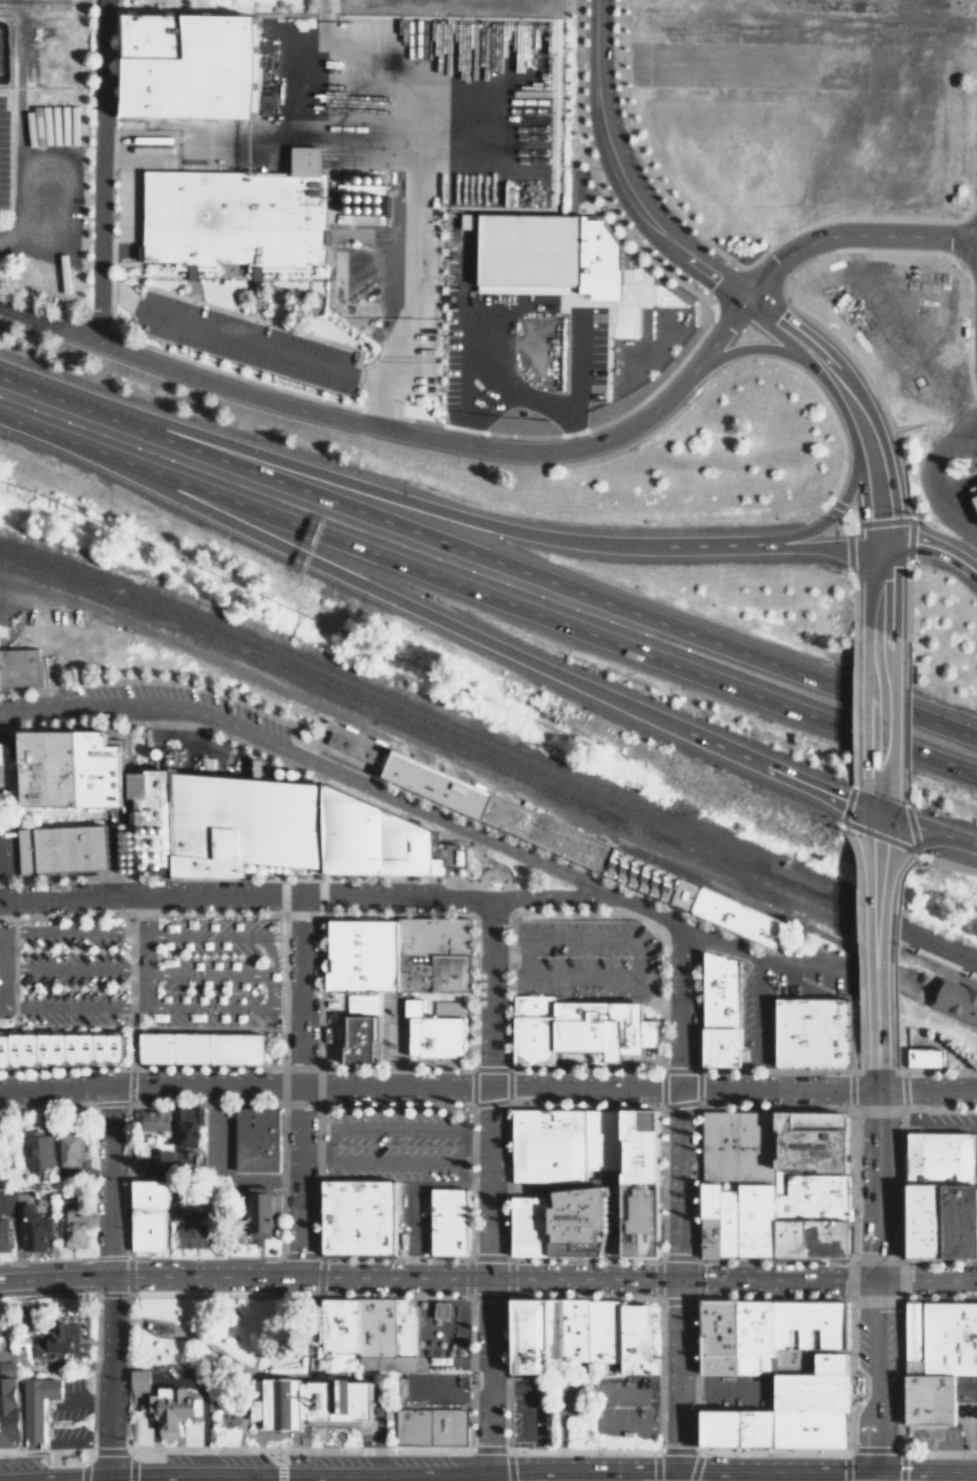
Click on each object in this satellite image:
building: (181, 67)
road: (596, 105)
road: (89, 165)
building: (236, 217)
building: (468, 220)
road: (663, 230)
road: (849, 234)
building: (552, 249)
road: (718, 277)
road: (508, 303)
road: (720, 332)
road: (790, 332)
road: (467, 341)
road: (254, 344)
road: (762, 347)
road: (572, 377)
road: (519, 398)
road: (850, 401)
road: (351, 421)
road: (913, 423)
road: (248, 452)
road: (855, 472)
road: (921, 482)
road: (874, 488)
building: (973, 496)
road: (848, 519)
road: (863, 524)
road: (800, 530)
road: (607, 542)
road: (804, 543)
road: (863, 543)
traffic signals: (878, 543)
road: (893, 544)
road: (944, 550)
road: (488, 558)
road: (338, 571)
road: (877, 586)
road: (487, 595)
railway: (306, 692)
railway: (331, 692)
parking lot: (243, 712)
road: (876, 712)
road: (675, 727)
building: (347, 744)
railway: (490, 749)
road: (314, 762)
building: (66, 766)
building: (7, 769)
building: (437, 783)
road: (808, 785)
road: (876, 804)
road: (863, 809)
traffic signals: (876, 814)
road: (895, 819)
building: (222, 822)
road: (876, 826)
road: (946, 832)
building: (548, 833)
building: (369, 837)
building: (60, 848)
parking lot: (5, 850)
road: (485, 851)
road: (926, 856)
railway: (739, 866)
park: (501, 873)
building: (641, 873)
road: (509, 888)
building: (684, 892)
road: (343, 894)
railway: (818, 906)
building: (736, 916)
road: (72, 928)
road: (144, 933)
road: (221, 935)
building: (361, 953)
building: (432, 953)
road: (764, 954)
road: (875, 954)
parking lot: (585, 958)
road: (72, 968)
road: (189, 972)
parking lot: (138, 976)
road: (636, 979)
road: (269, 987)
railway: (930, 996)
building: (956, 1000)
road: (284, 1002)
road: (756, 1006)
road: (72, 1007)
road: (208, 1007)
building: (448, 1007)
building: (719, 1009)
road: (930, 1009)
road: (122, 1022)
road: (61, 1028)
building: (577, 1029)
building: (811, 1031)
building: (432, 1032)
building: (358, 1037)
building: (203, 1047)
building: (62, 1049)
building: (919, 1056)
road: (130, 1075)
road: (875, 1080)
road: (298, 1084)
road: (437, 1085)
road: (926, 1091)
building: (151, 1120)
road: (928, 1125)
parking lot: (952, 1125)
building: (186, 1126)
building: (602, 1137)
building: (256, 1139)
building: (810, 1139)
road: (471, 1140)
parking lot: (394, 1143)
road: (456, 1143)
building: (547, 1143)
road: (312, 1144)
building: (639, 1144)
building: (737, 1144)
building: (69, 1148)
building: (37, 1152)
building: (939, 1155)
building: (169, 1160)
road: (108, 1181)
road: (538, 1183)
road: (592, 1183)
road: (611, 1183)
road: (486, 1184)
road: (873, 1185)
road: (410, 1191)
road: (677, 1197)
building: (272, 1198)
building: (709, 1198)
building: (257, 1215)
building: (811, 1215)
building: (358, 1216)
parking lot: (411, 1216)
building: (148, 1217)
building: (728, 1217)
building: (639, 1218)
building: (755, 1218)
building: (924, 1218)
building: (959, 1218)
building: (575, 1219)
building: (448, 1221)
building: (529, 1223)
building: (195, 1227)
building: (34, 1229)
building: (73, 1229)
building: (234, 1230)
road: (613, 1230)
building: (4, 1235)
building: (709, 1236)
road: (53, 1278)
road: (541, 1278)
road: (308, 1286)
building: (442, 1310)
building: (810, 1323)
road: (298, 1325)
building: (337, 1325)
building: (374, 1325)
building: (402, 1327)
road: (181, 1329)
building: (567, 1330)
building: (913, 1330)
road: (156, 1332)
building: (603, 1333)
building: (755, 1334)
building: (719, 1335)
building: (528, 1337)
building: (949, 1337)
building: (635, 1338)
building: (48, 1343)
park: (229, 1348)
building: (454, 1351)
building: (830, 1361)
building: (389, 1363)
road: (240, 1366)
building: (913, 1366)
road: (309, 1367)
road: (105, 1374)
road: (872, 1374)
building: (139, 1376)
parking lot: (428, 1388)
parking lot: (735, 1390)
building: (808, 1390)
building: (935, 1396)
building: (311, 1400)
road: (201, 1404)
building: (23, 1407)
building: (168, 1407)
parking lot: (604, 1407)
parking lot: (528, 1410)
building: (431, 1425)
building: (736, 1426)
building: (809, 1427)
road: (238, 1429)
road: (541, 1473)
road: (52, 1476)
road: (104, 1477)
road: (151, 1477)
road: (300, 1477)
road: (526, 1477)
park: (865, 1480)

